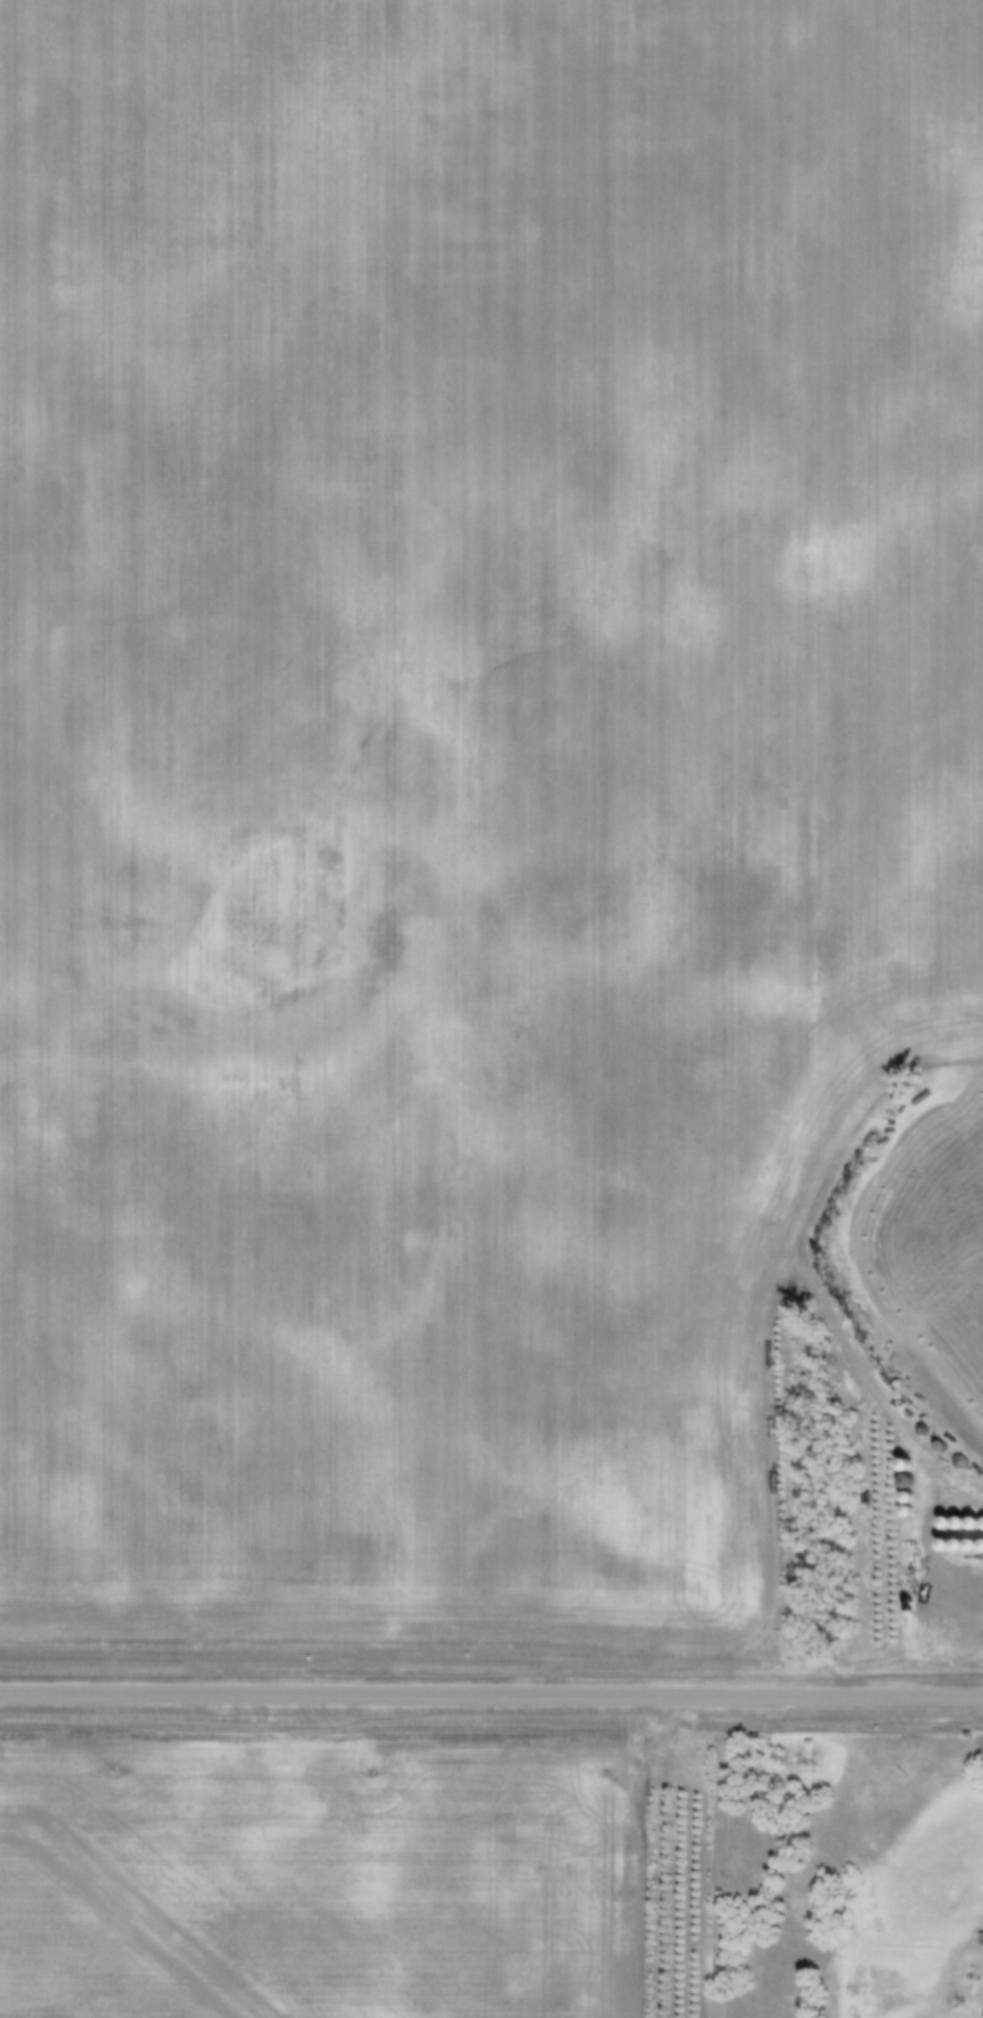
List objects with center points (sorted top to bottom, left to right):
road: (491, 1692)

